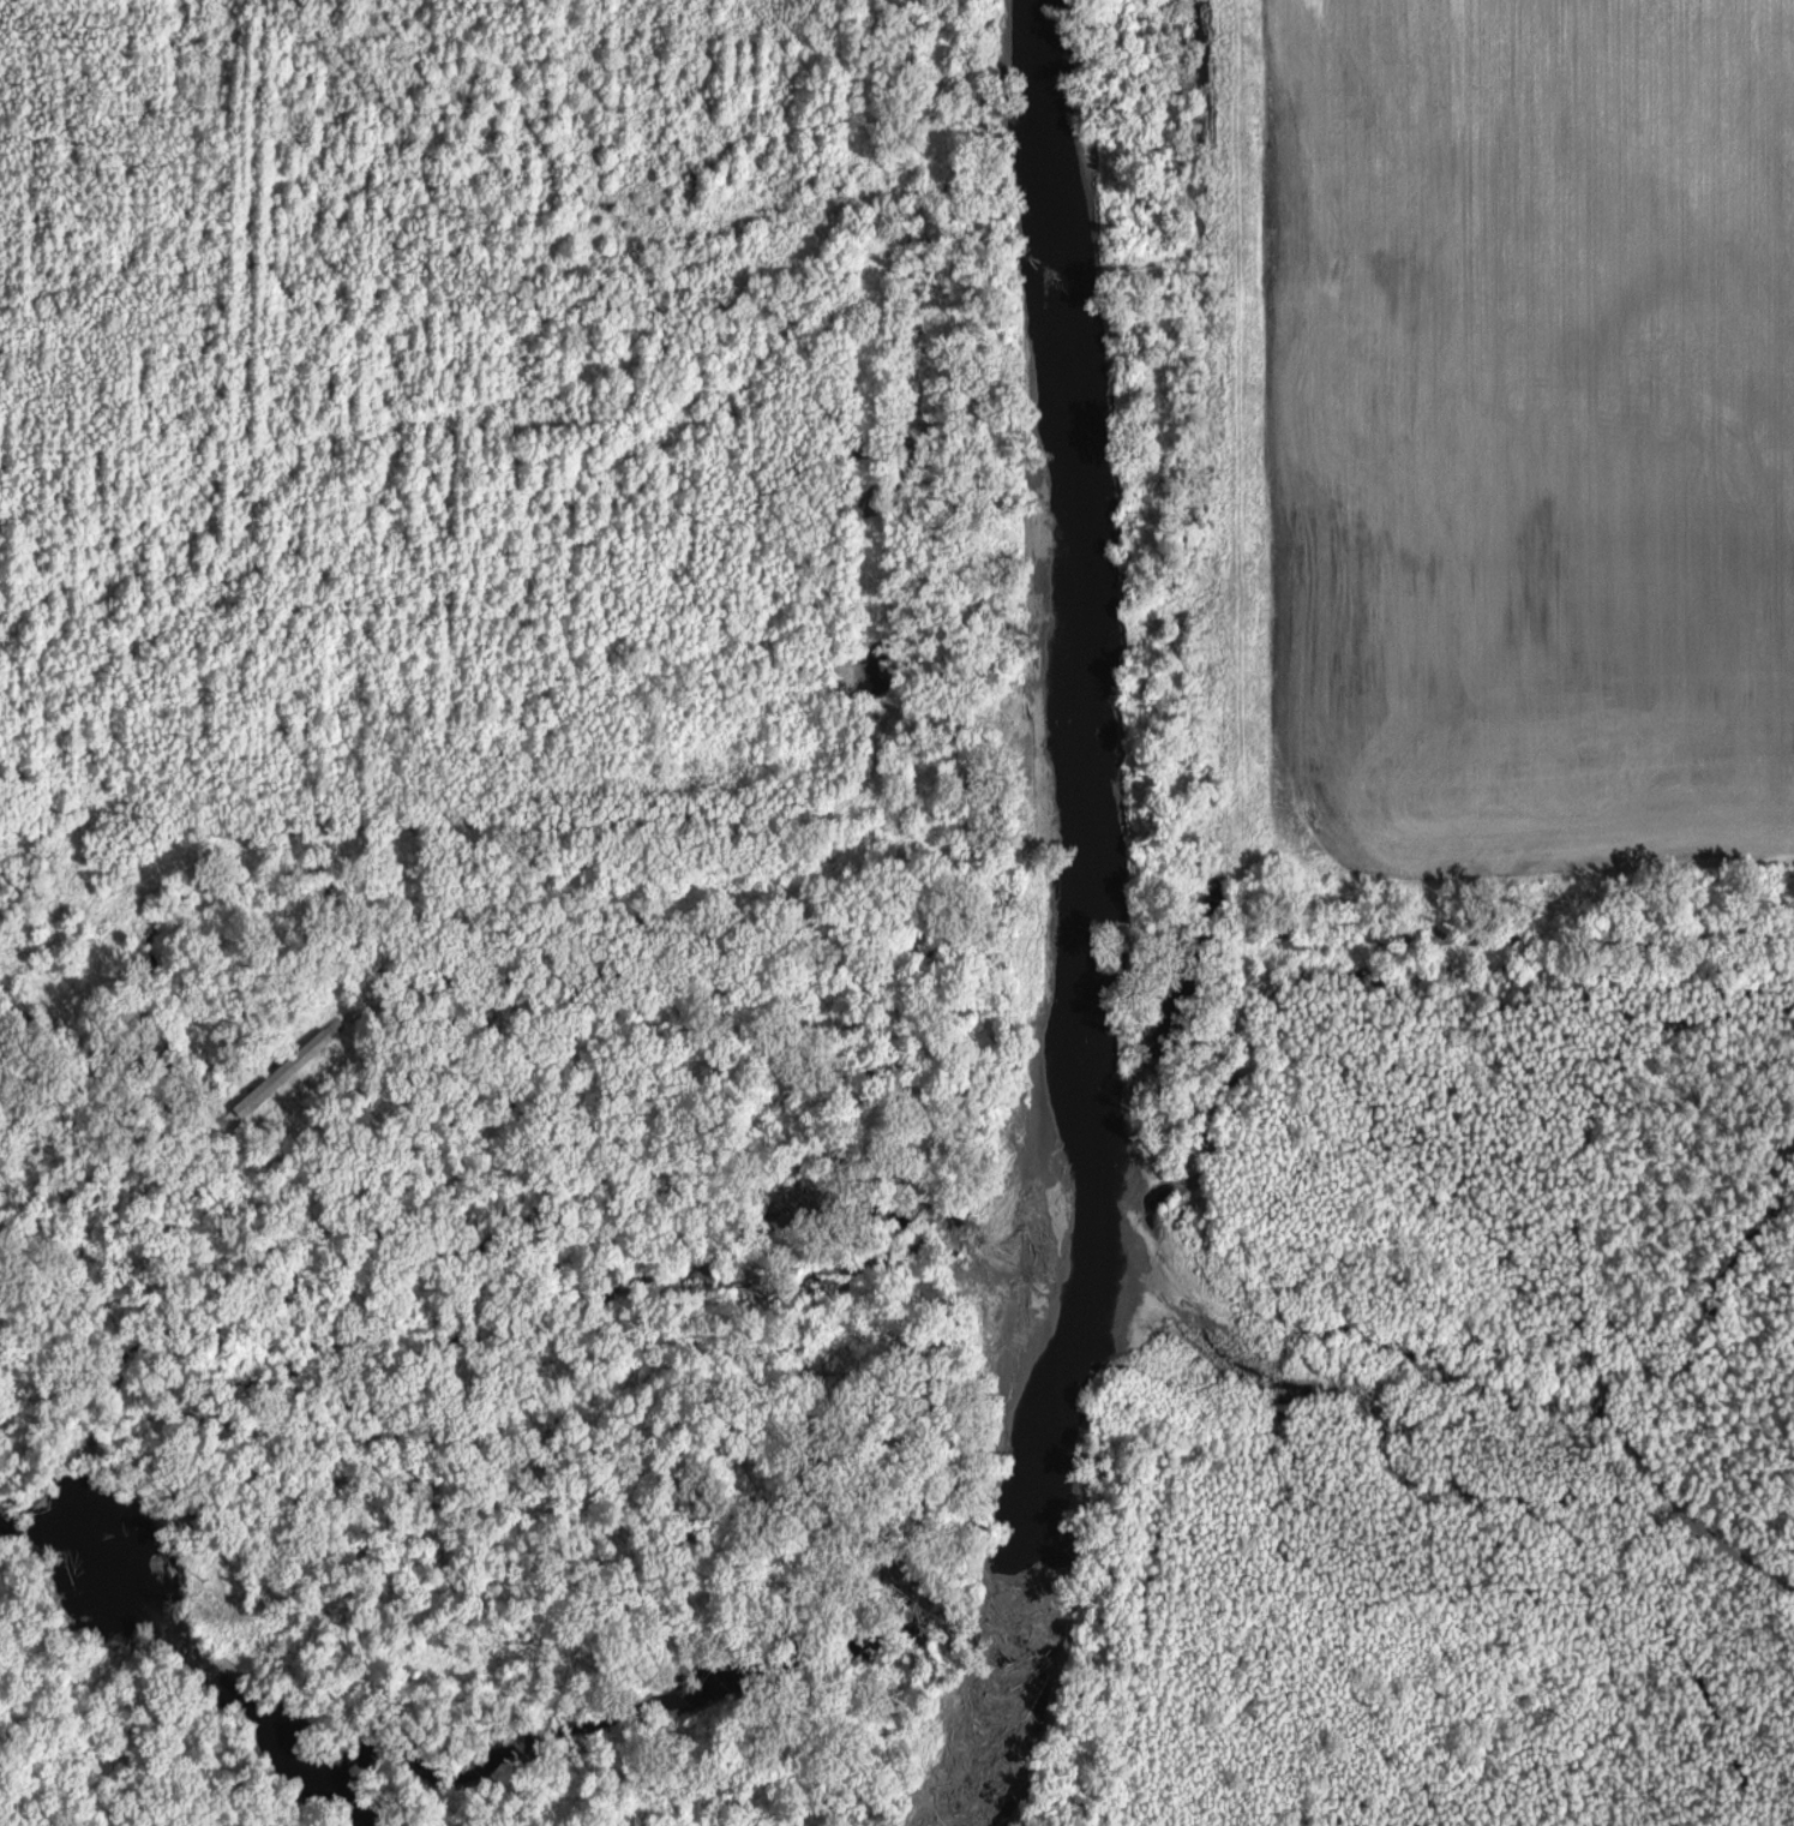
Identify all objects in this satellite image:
river: (1051, 559)
road: (437, 986)
road: (118, 1059)
road: (282, 1073)
river: (1028, 1477)

